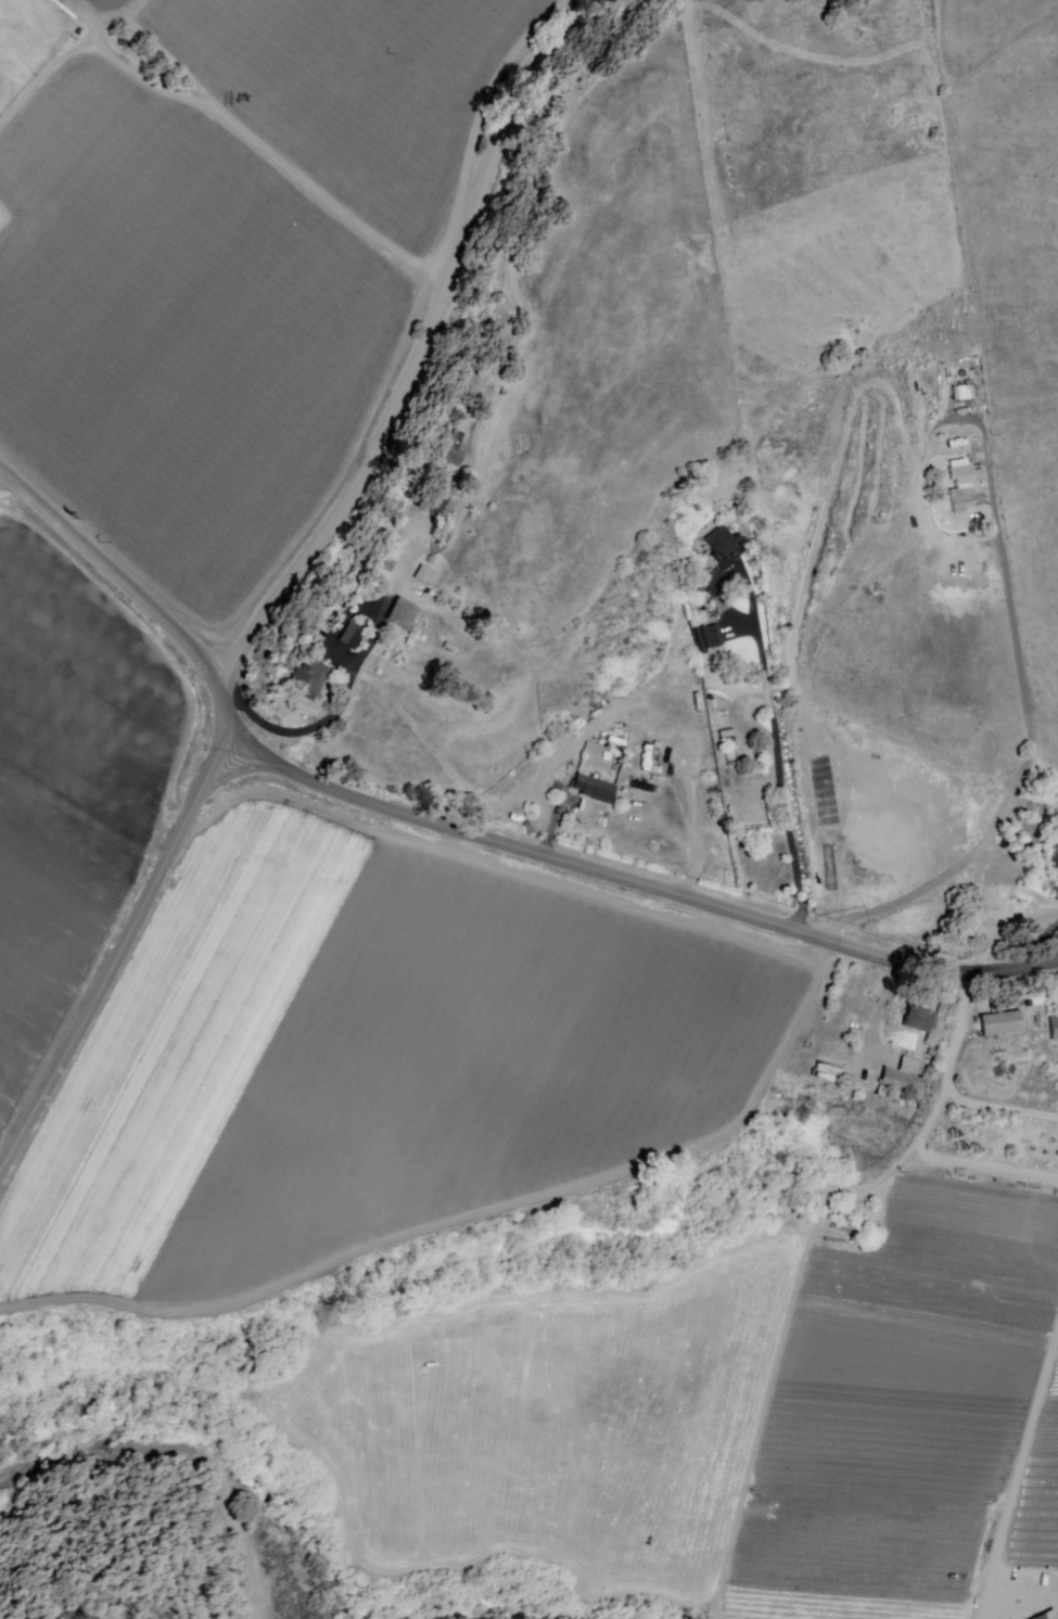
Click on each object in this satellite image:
crop: (116, 5)
crop: (361, 88)
crop: (184, 337)
road: (426, 355)
building: (963, 392)
building: (979, 442)
building: (454, 450)
building: (979, 476)
building: (961, 486)
building: (436, 496)
building: (475, 523)
building: (725, 548)
building: (384, 564)
building: (426, 577)
building: (375, 579)
road: (387, 602)
building: (403, 615)
building: (353, 636)
building: (713, 636)
building: (308, 679)
road: (1030, 736)
building: (726, 738)
road: (779, 752)
building: (637, 786)
building: (596, 789)
crop: (69, 790)
road: (468, 833)
road: (116, 951)
building: (1038, 1015)
building: (920, 1022)
building: (1003, 1024)
road: (959, 1029)
building: (1054, 1030)
building: (833, 1057)
crop: (366, 1063)
building: (915, 1063)
building: (903, 1085)
road: (999, 1108)
road: (788, 1323)
crop: (902, 1395)
road: (1017, 1478)
crop: (1037, 1506)

